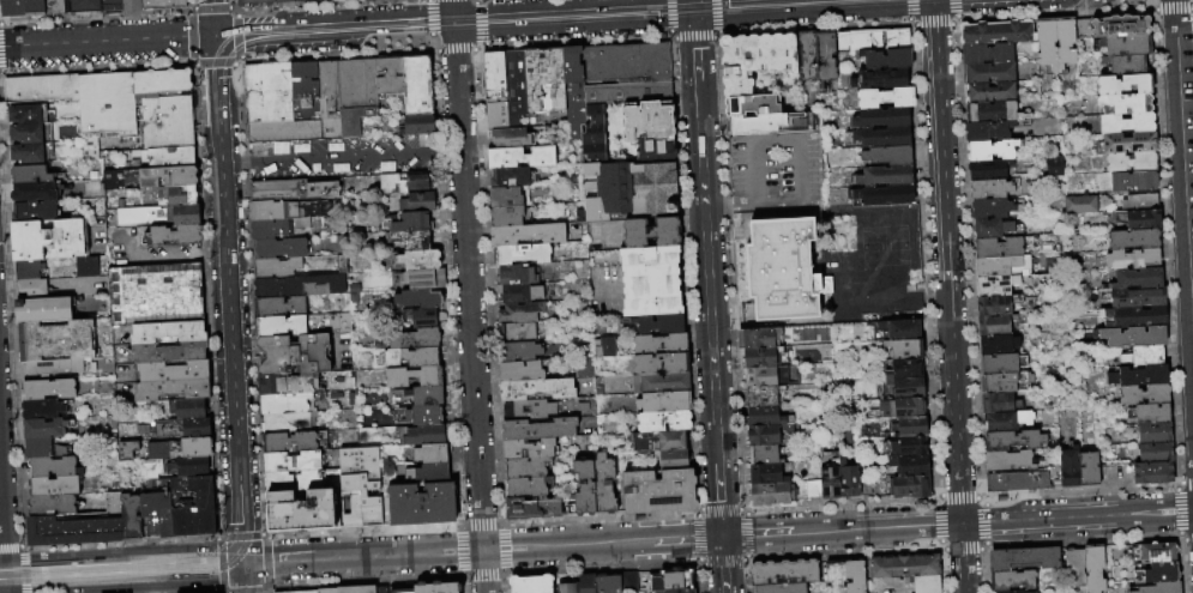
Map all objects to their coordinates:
building: (283, 0)
building: (305, 0)
building: (338, 0)
building: (355, 0)
road: (474, 1)
building: (253, 2)
building: (161, 4)
road: (231, 4)
road: (1147, 4)
building: (112, 5)
building: (131, 5)
road: (187, 5)
road: (331, 5)
road: (692, 5)
building: (84, 6)
building: (12, 7)
building: (34, 7)
building: (53, 7)
road: (231, 7)
road: (954, 7)
road: (210, 8)
road: (1150, 8)
road: (1191, 8)
road: (189, 10)
traffic signals: (693, 10)
road: (906, 10)
road: (1171, 10)
road: (235, 13)
road: (1050, 13)
road: (94, 14)
road: (668, 14)
railway: (498, 16)
road: (715, 16)
road: (428, 17)
road: (212, 18)
road: (538, 18)
road: (954, 18)
railway: (578, 19)
road: (908, 22)
road: (478, 23)
road: (951, 23)
road: (911, 24)
road: (932, 24)
building: (1120, 26)
road: (815, 28)
building: (1081, 29)
road: (717, 32)
road: (718, 32)
building: (996, 32)
road: (669, 34)
road: (237, 35)
traffic signals: (213, 36)
road: (188, 37)
road: (671, 37)
road: (692, 37)
building: (897, 37)
building: (860, 38)
road: (106, 41)
building: (1065, 41)
road: (430, 42)
road: (577, 42)
building: (1046, 43)
road: (483, 46)
road: (694, 46)
building: (1126, 46)
road: (477, 48)
road: (454, 50)
road: (434, 52)
building: (986, 54)
road: (333, 55)
building: (806, 55)
building: (825, 55)
road: (237, 58)
building: (753, 59)
building: (886, 59)
road: (234, 62)
road: (191, 63)
building: (626, 63)
road: (193, 65)
road: (213, 65)
building: (1127, 65)
road: (95, 68)
building: (988, 72)
building: (493, 75)
building: (388, 78)
building: (543, 79)
building: (879, 79)
building: (162, 84)
building: (1123, 84)
building: (416, 86)
building: (514, 87)
building: (41, 89)
building: (988, 91)
building: (266, 92)
building: (303, 92)
building: (627, 92)
building: (573, 93)
building: (355, 96)
building: (885, 98)
building: (327, 101)
road: (239, 103)
building: (1125, 103)
building: (751, 105)
building: (106, 109)
building: (990, 111)
building: (28, 114)
building: (495, 114)
building: (880, 117)
building: (595, 119)
building: (167, 122)
building: (775, 123)
building: (1126, 123)
building: (417, 126)
building: (650, 129)
building: (996, 131)
building: (283, 132)
building: (26, 134)
building: (881, 137)
building: (511, 138)
road: (799, 140)
building: (1128, 143)
building: (594, 146)
building: (989, 150)
road: (446, 151)
building: (28, 153)
road: (197, 156)
building: (887, 156)
road: (338, 157)
parking lot: (339, 157)
building: (519, 157)
building: (168, 158)
road: (243, 161)
road: (233, 163)
building: (1131, 163)
building: (1052, 167)
building: (988, 169)
parking lot: (776, 171)
building: (30, 174)
building: (168, 176)
building: (884, 176)
building: (508, 177)
building: (1133, 181)
building: (403, 182)
building: (320, 188)
building: (273, 189)
building: (628, 189)
building: (989, 189)
building: (36, 192)
building: (884, 195)
building: (176, 196)
building: (505, 196)
road: (1181, 196)
building: (416, 202)
building: (1139, 202)
road: (729, 204)
building: (1078, 204)
building: (990, 207)
building: (271, 210)
building: (34, 212)
building: (140, 216)
building: (183, 216)
building: (506, 216)
building: (1139, 219)
building: (408, 222)
building: (276, 228)
building: (995, 229)
building: (650, 232)
building: (525, 234)
building: (173, 236)
building: (411, 240)
building: (1133, 240)
building: (49, 241)
building: (996, 247)
road: (1163, 247)
building: (279, 248)
road: (892, 249)
parking lot: (141, 250)
road: (203, 253)
building: (520, 253)
road: (213, 254)
road: (156, 258)
building: (1131, 259)
building: (420, 260)
road: (923, 260)
road: (965, 260)
road: (946, 261)
building: (996, 265)
building: (276, 267)
building: (781, 270)
building: (28, 271)
road: (730, 271)
road: (707, 272)
road: (468, 274)
building: (514, 274)
road: (683, 274)
building: (422, 279)
building: (1138, 279)
building: (650, 280)
building: (999, 284)
building: (297, 285)
building: (30, 290)
building: (518, 292)
railway: (223, 294)
building: (155, 295)
building: (1137, 297)
building: (417, 298)
road: (228, 299)
railway: (233, 302)
road: (921, 302)
road: (866, 304)
building: (996, 304)
building: (278, 305)
building: (43, 310)
building: (519, 311)
building: (1132, 316)
building: (423, 319)
building: (301, 323)
building: (658, 323)
building: (994, 323)
building: (516, 331)
building: (897, 331)
building: (168, 332)
building: (1133, 337)
building: (758, 338)
building: (406, 339)
building: (56, 341)
building: (659, 344)
building: (996, 344)
road: (11, 345)
building: (602, 346)
building: (904, 349)
building: (518, 351)
building: (168, 352)
building: (294, 353)
road: (255, 355)
building: (1144, 356)
building: (410, 357)
building: (759, 357)
building: (659, 363)
building: (1000, 363)
building: (582, 367)
building: (53, 368)
building: (904, 369)
building: (522, 370)
building: (173, 371)
building: (414, 376)
building: (765, 376)
building: (1138, 376)
building: (1002, 381)
building: (287, 383)
building: (659, 383)
building: (536, 388)
building: (906, 388)
building: (48, 389)
building: (171, 389)
building: (418, 395)
building: (763, 395)
building: (1143, 395)
road: (211, 399)
building: (664, 401)
building: (285, 403)
building: (999, 403)
building: (903, 407)
building: (41, 409)
building: (187, 409)
building: (528, 410)
building: (1149, 413)
building: (424, 415)
building: (765, 417)
building: (663, 420)
building: (1006, 420)
building: (287, 423)
building: (908, 426)
building: (43, 428)
building: (177, 428)
building: (538, 429)
building: (1153, 432)
building: (766, 434)
building: (423, 435)
building: (1013, 440)
building: (294, 441)
building: (658, 441)
building: (906, 446)
building: (189, 448)
building: (42, 449)
building: (528, 449)
building: (127, 450)
building: (157, 450)
building: (1155, 452)
building: (430, 454)
building: (764, 455)
building: (671, 459)
building: (291, 461)
building: (1007, 461)
building: (912, 465)
building: (54, 467)
building: (189, 467)
building: (524, 467)
building: (1068, 467)
building: (149, 468)
building: (1087, 470)
building: (432, 472)
building: (1152, 472)
building: (766, 474)
building: (301, 480)
building: (848, 480)
building: (1018, 480)
road: (1186, 482)
building: (830, 483)
road: (1176, 483)
building: (604, 484)
building: (360, 485)
building: (55, 486)
building: (525, 486)
building: (909, 486)
building: (864, 488)
building: (583, 489)
building: (813, 489)
building: (658, 491)
road: (1078, 491)
building: (770, 494)
road: (934, 496)
road: (957, 496)
road: (978, 497)
road: (719, 500)
building: (417, 504)
building: (53, 506)
building: (193, 507)
road: (838, 507)
building: (532, 508)
building: (156, 509)
building: (300, 510)
road: (721, 510)
road: (1176, 510)
road: (1144, 512)
road: (746, 513)
building: (125, 514)
road: (697, 514)
road: (599, 516)
road: (1029, 519)
road: (935, 521)
road: (481, 524)
road: (984, 524)
road: (502, 525)
road: (459, 527)
road: (879, 527)
building: (74, 528)
road: (364, 528)
road: (263, 534)
road: (760, 534)
road: (1, 535)
road: (240, 535)
road: (747, 535)
road: (265, 537)
road: (698, 537)
traffic signals: (722, 537)
road: (686, 538)
road: (1179, 538)
road: (1188, 539)
road: (120, 541)
road: (1081, 541)
road: (567, 545)
road: (940, 545)
road: (982, 546)
road: (10, 547)
road: (24, 549)
road: (504, 549)
road: (960, 549)
road: (125, 551)
road: (460, 551)
road: (398, 553)
road: (844, 553)
building: (1150, 553)
road: (1, 558)
road: (963, 558)
railway: (80, 559)
road: (746, 559)
building: (1020, 559)
railway: (68, 561)
road: (278, 561)
road: (267, 562)
road: (723, 562)
road: (47, 563)
road: (221, 563)
traffic signals: (243, 563)
road: (700, 563)
railway: (115, 564)
road: (723, 564)
building: (899, 567)
road: (1182, 567)
road: (601, 568)
road: (121, 569)
building: (1072, 569)
building: (1091, 569)
road: (483, 570)
road: (941, 570)
road: (981, 570)
road: (25, 571)
building: (782, 573)
railway: (122, 574)
building: (1156, 574)
road: (4, 575)
railway: (182, 575)
road: (463, 575)
road: (504, 575)
road: (204, 576)
road: (483, 576)
road: (746, 576)
building: (832, 576)
road: (243, 577)
building: (851, 577)
building: (670, 579)
road: (364, 580)
building: (627, 581)
building: (1008, 581)
railway: (29, 583)
building: (530, 583)
building: (585, 583)
building: (607, 583)
building: (923, 585)
road: (28, 586)
road: (147, 586)
building: (436, 587)
building: (566, 587)
road: (269, 588)
building: (779, 588)
building: (1158, 588)
road: (141, 589)
building: (355, 589)
building: (380, 589)
road: (222, 591)
road: (265, 591)
building: (326, 591)
building: (402, 591)
building: (675, 591)
road: (253, 592)
road: (266, 592)
building: (301, 592)
building: (1008, 592)

